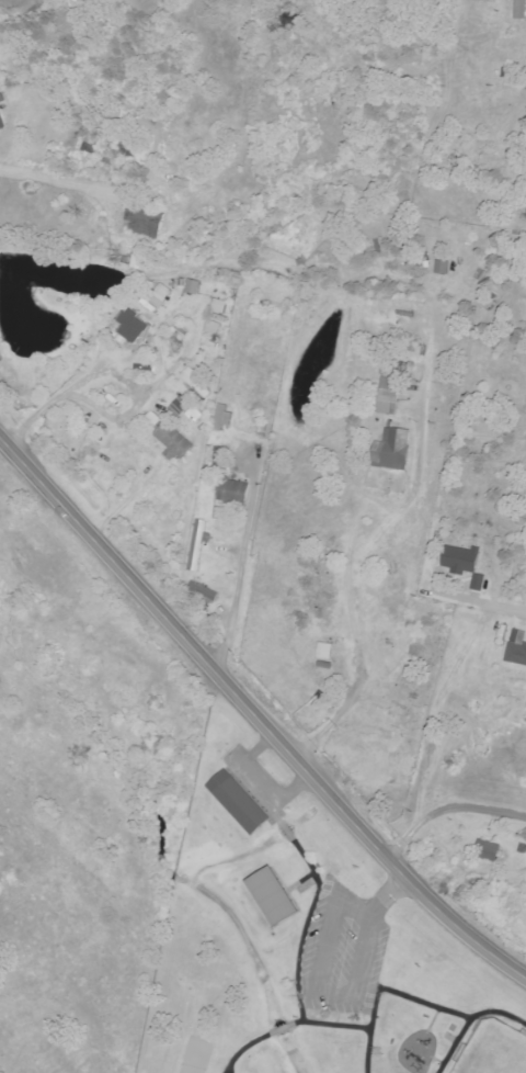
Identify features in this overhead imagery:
building: (517, 10)
road: (35, 65)
building: (2, 113)
building: (149, 221)
building: (444, 267)
building: (228, 276)
building: (194, 286)
building: (164, 293)
building: (221, 306)
building: (139, 325)
building: (215, 328)
building: (197, 384)
building: (390, 396)
building: (196, 415)
building: (224, 417)
building: (171, 438)
building: (396, 449)
building: (221, 458)
building: (236, 493)
road: (71, 517)
building: (198, 545)
building: (465, 560)
building: (480, 581)
building: (205, 591)
road: (478, 602)
building: (518, 647)
parking lot: (251, 781)
road: (255, 784)
road: (325, 795)
building: (240, 802)
road: (446, 809)
building: (490, 851)
road: (297, 885)
building: (278, 896)
road: (386, 897)
road: (352, 911)
road: (310, 914)
parking lot: (340, 952)
road: (325, 993)
road: (420, 1002)
road: (496, 1013)
road: (431, 1020)
road: (288, 1027)
road: (367, 1028)
road: (450, 1046)
park: (491, 1050)
road: (435, 1062)
road: (226, 1072)

